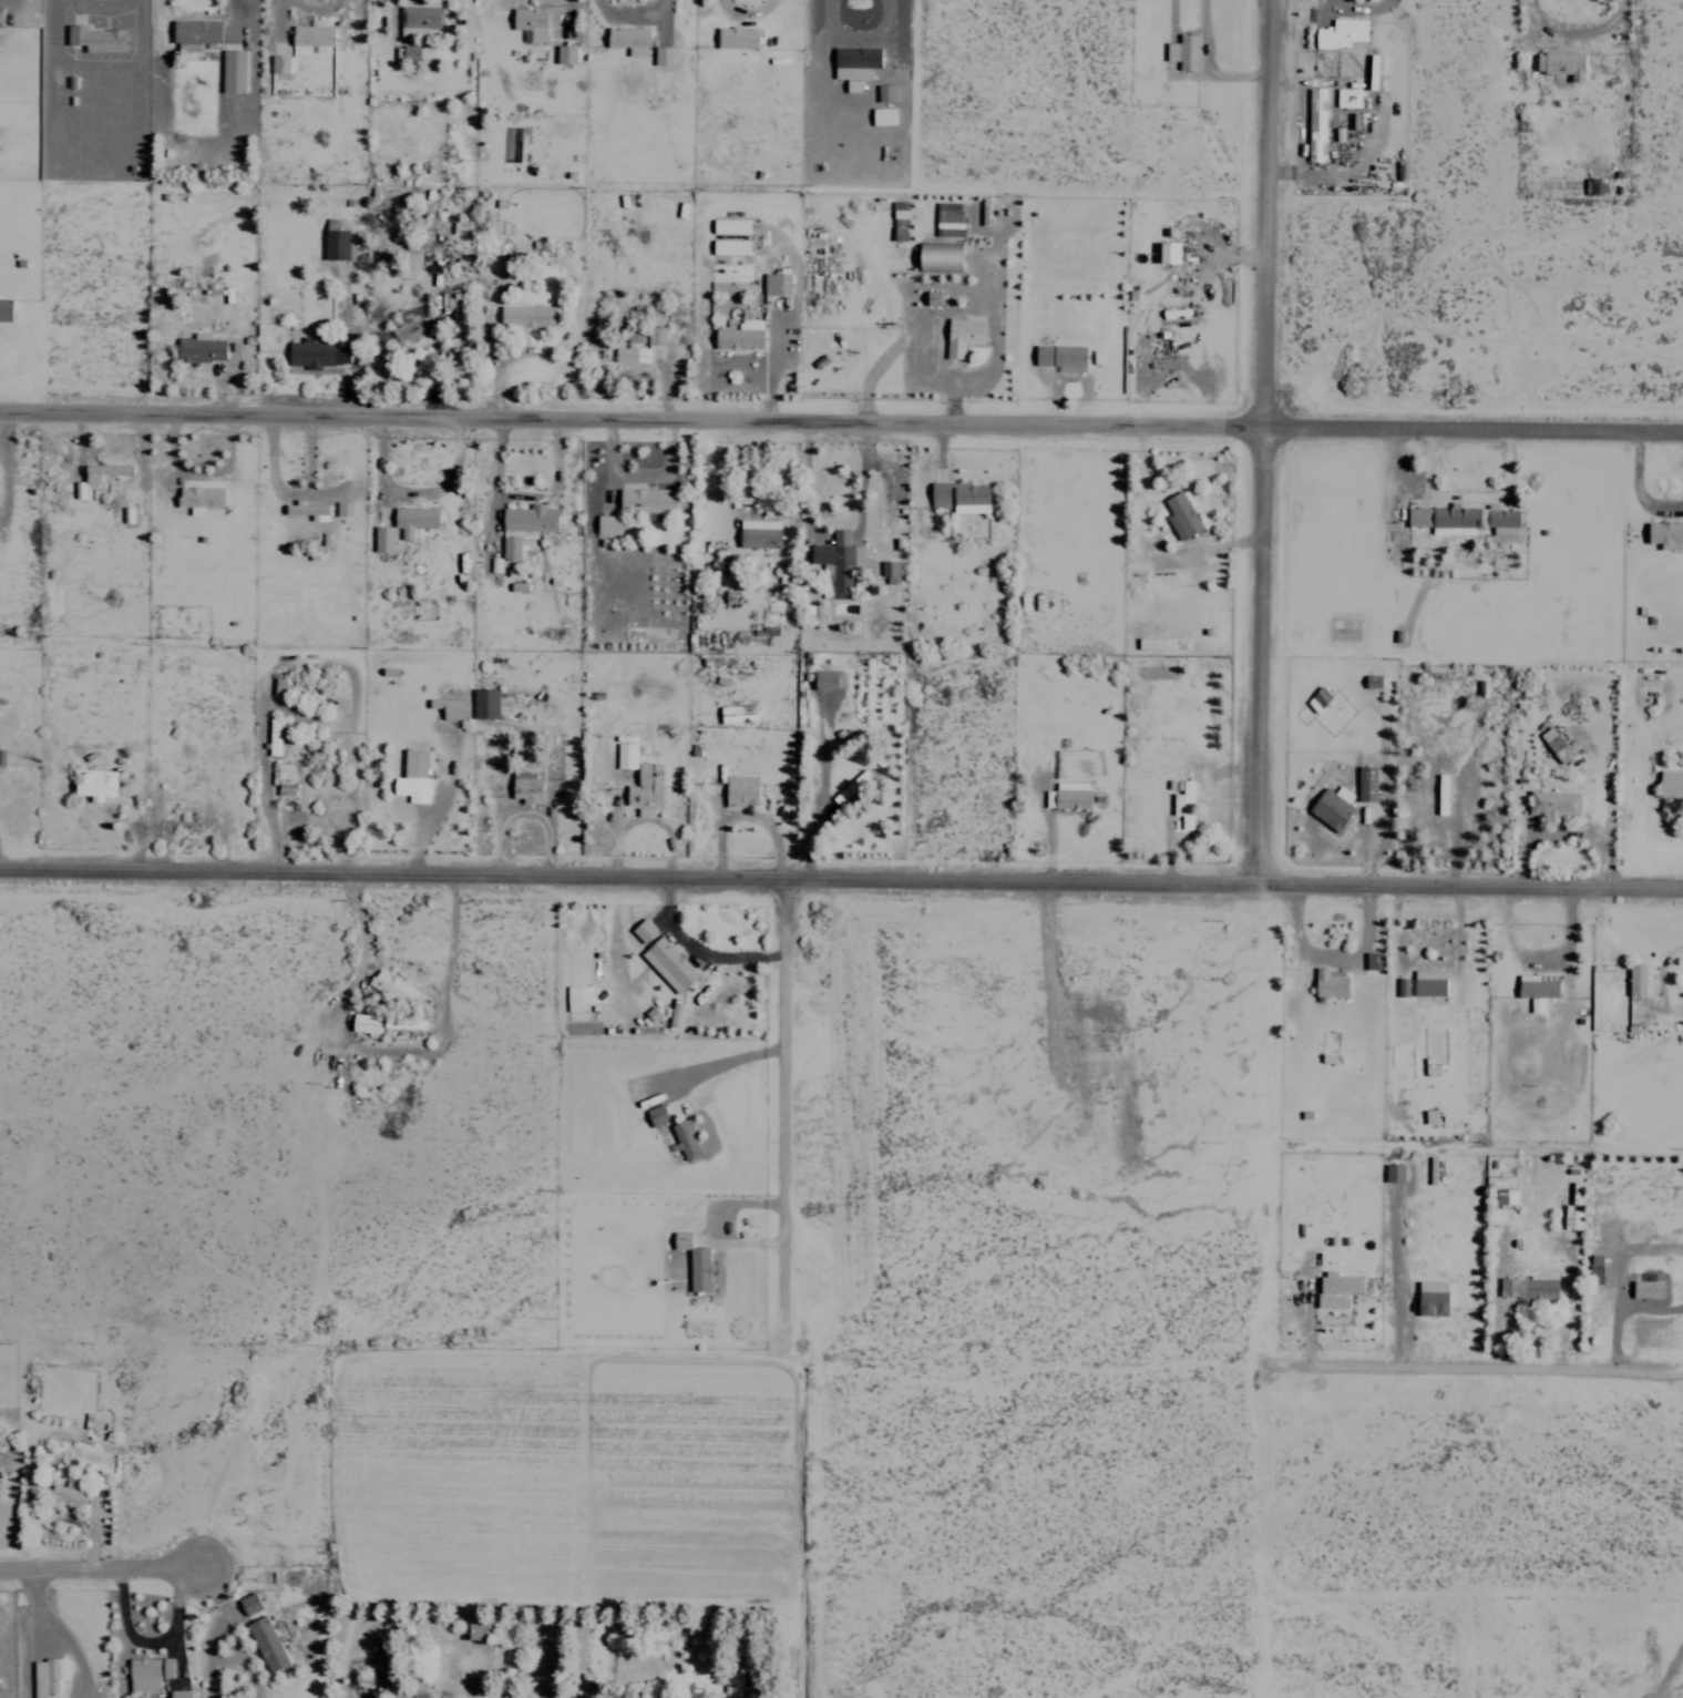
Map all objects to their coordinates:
building: (0, 10)
building: (418, 19)
building: (530, 22)
building: (1340, 31)
building: (311, 32)
building: (194, 33)
building: (95, 38)
building: (736, 38)
building: (628, 39)
building: (409, 51)
building: (1182, 51)
building: (564, 53)
building: (661, 54)
building: (853, 61)
building: (278, 63)
building: (1561, 63)
building: (232, 70)
building: (851, 84)
building: (884, 92)
building: (1346, 96)
building: (881, 115)
building: (1314, 124)
building: (1595, 185)
building: (947, 218)
building: (899, 219)
building: (335, 242)
building: (1167, 252)
building: (938, 256)
building: (774, 283)
building: (933, 297)
building: (4, 309)
building: (524, 317)
building: (654, 335)
building: (739, 335)
building: (961, 335)
building: (409, 336)
building: (198, 348)
building: (629, 354)
building: (314, 355)
building: (1058, 355)
road: (841, 417)
road: (1261, 440)
building: (103, 471)
building: (958, 497)
building: (198, 498)
building: (645, 499)
building: (342, 509)
building: (308, 510)
building: (1180, 515)
building: (528, 518)
building: (413, 519)
building: (1444, 520)
building: (1500, 520)
building: (607, 524)
building: (758, 533)
building: (1665, 533)
building: (382, 538)
building: (510, 546)
building: (837, 560)
building: (891, 571)
building: (823, 679)
building: (1317, 698)
building: (483, 703)
building: (448, 707)
building: (736, 713)
building: (275, 734)
building: (1553, 745)
building: (625, 755)
building: (412, 777)
building: (92, 782)
building: (1365, 782)
building: (1670, 785)
building: (644, 786)
building: (525, 787)
building: (739, 790)
building: (1440, 794)
building: (1066, 796)
building: (1552, 804)
building: (1184, 805)
building: (1331, 807)
building: (643, 811)
road: (841, 873)
building: (642, 930)
building: (1372, 961)
building: (667, 964)
building: (1635, 980)
building: (1328, 982)
building: (1428, 983)
building: (390, 986)
building: (1400, 986)
building: (1536, 989)
building: (575, 1001)
building: (363, 1023)
building: (401, 1023)
road: (783, 1107)
building: (655, 1115)
building: (1430, 1116)
building: (685, 1137)
building: (1393, 1172)
building: (1506, 1196)
building: (1574, 1220)
building: (692, 1261)
building: (1594, 1269)
building: (1527, 1288)
building: (1334, 1289)
building: (1645, 1289)
building: (1430, 1298)
road: (1475, 1369)
building: (66, 1494)
road: (99, 1568)
building: (248, 1604)
building: (475, 1629)
building: (266, 1644)
building: (146, 1673)
building: (45, 1676)
building: (738, 1689)
building: (178, 1694)

